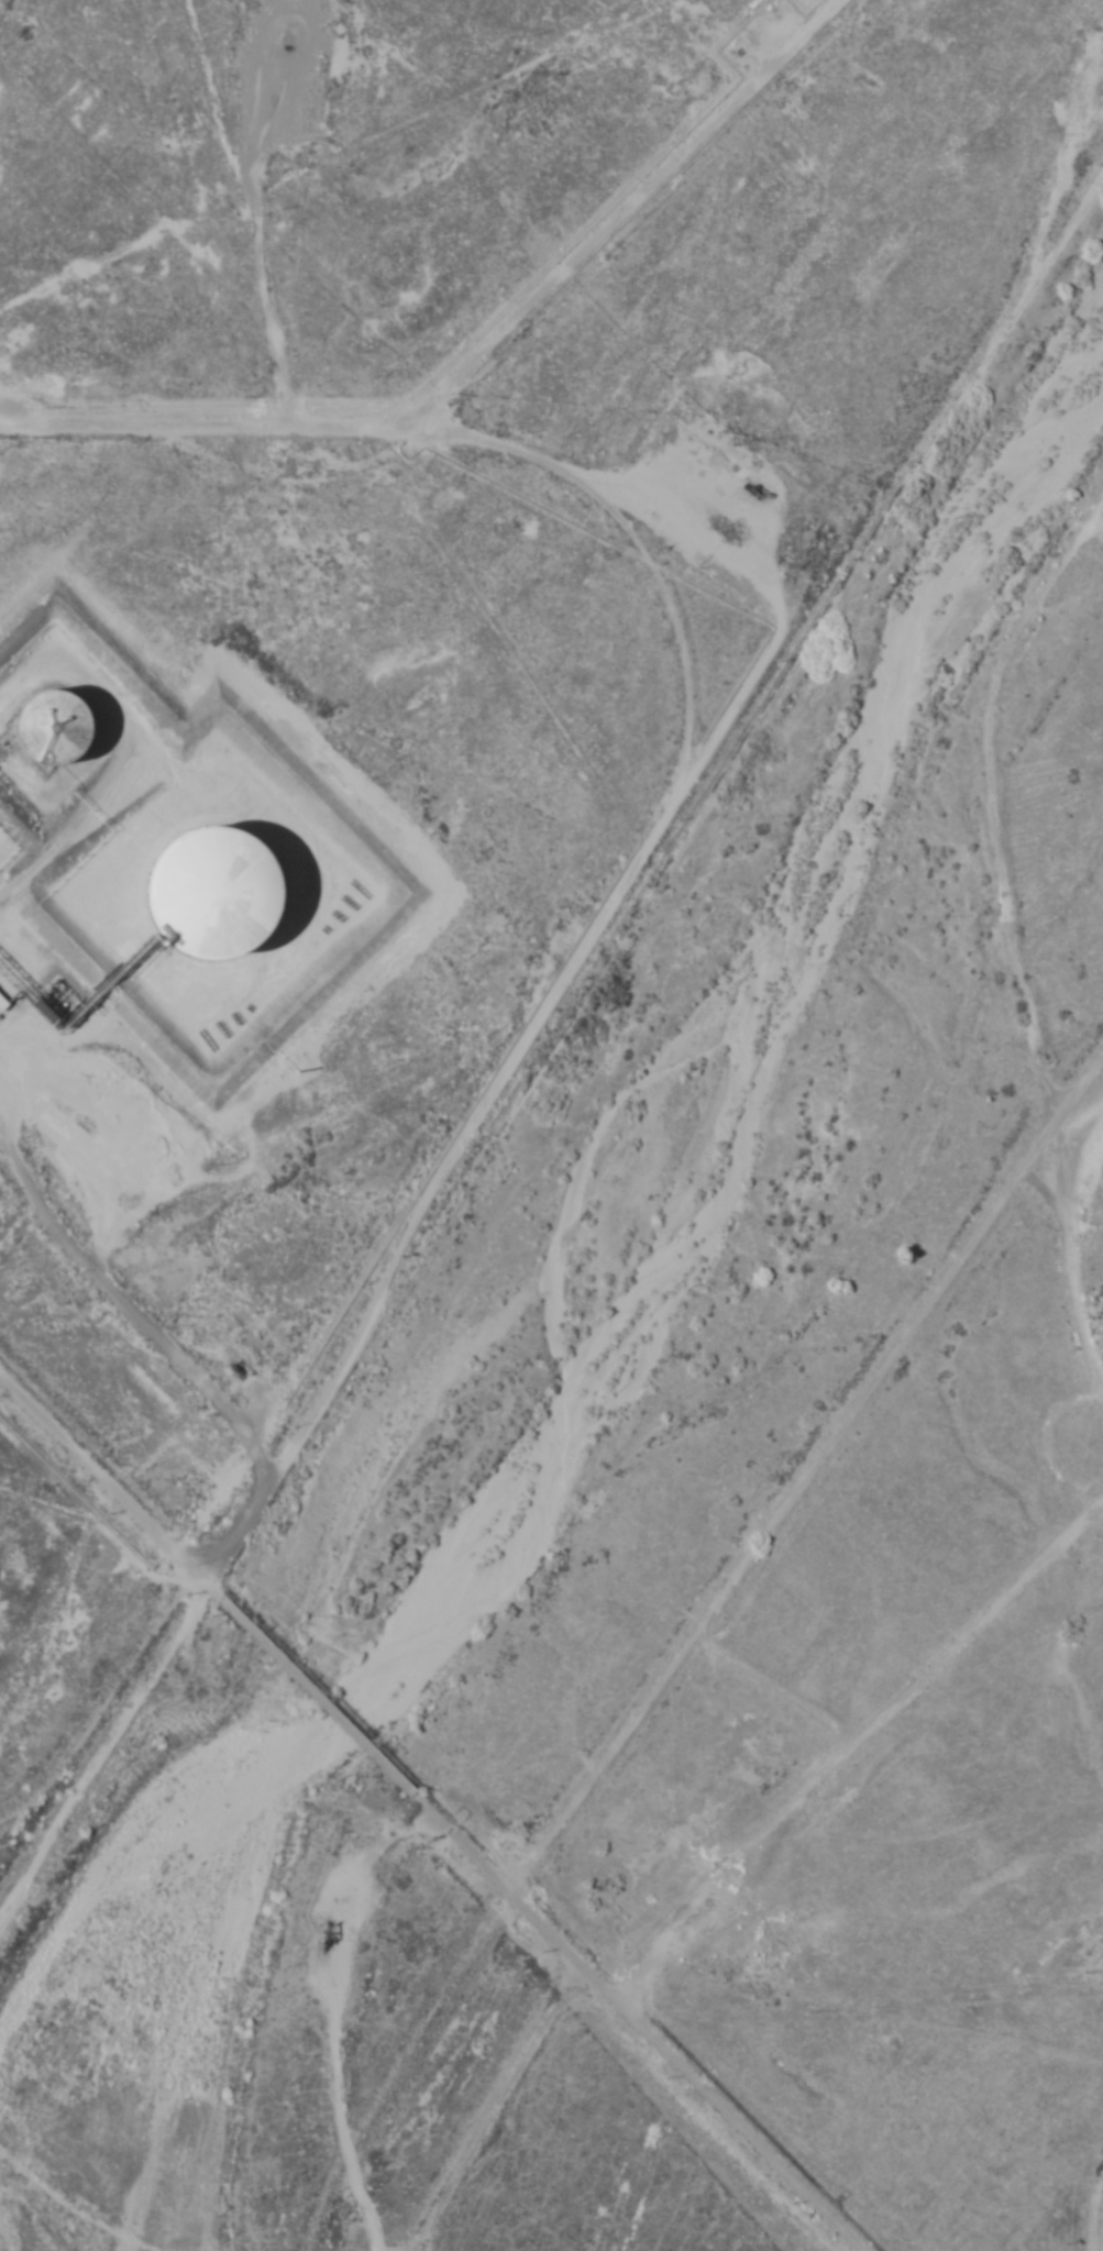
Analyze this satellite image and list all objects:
road: (627, 207)
road: (651, 529)
building: (62, 725)
building: (257, 892)
road: (592, 955)
road: (57, 991)
building: (3, 1003)
river: (540, 1262)
road: (119, 1281)
road: (511, 1313)
road: (65, 1435)
road: (803, 1463)
road: (860, 1733)
road: (100, 1742)
road: (499, 1880)
road: (479, 2104)
road: (1095, 2214)

